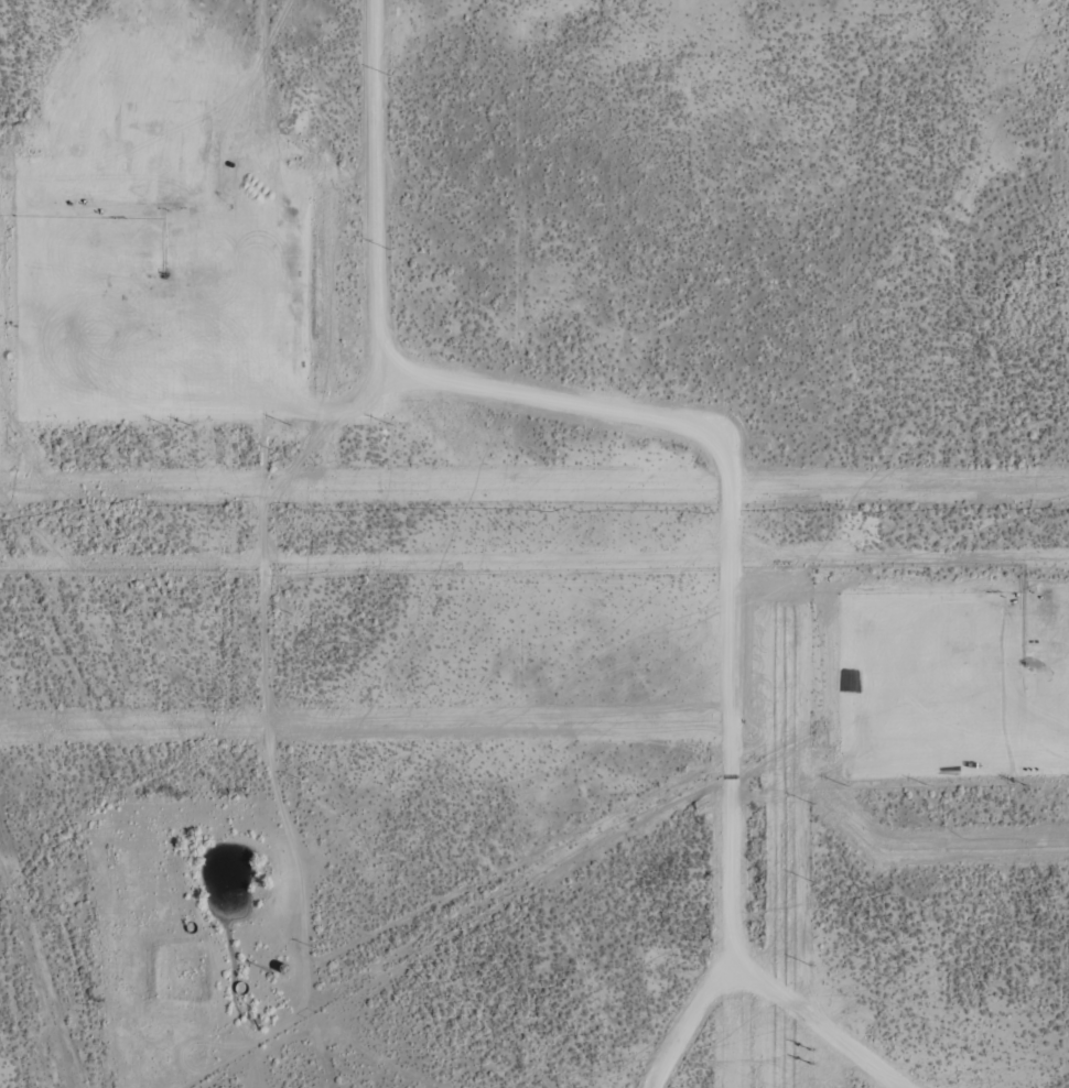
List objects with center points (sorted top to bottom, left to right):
road: (256, 782)
road: (13, 1034)

